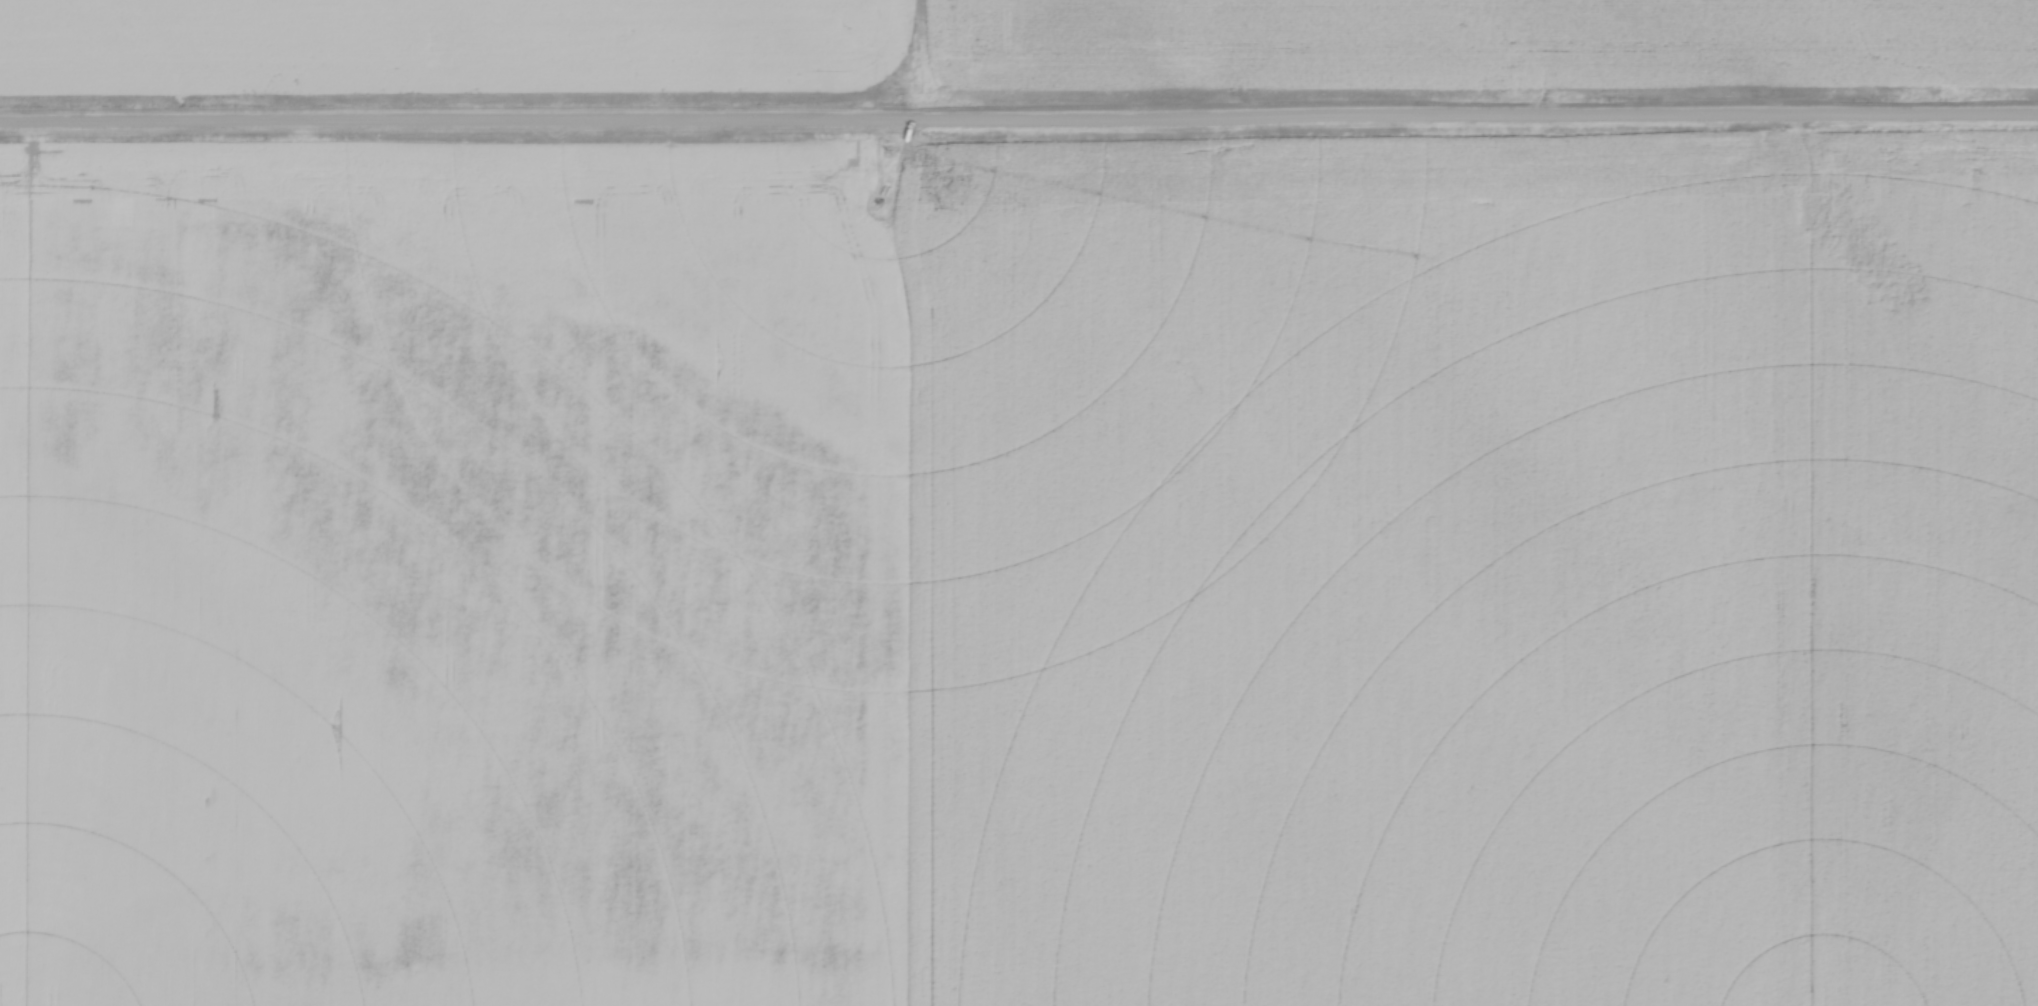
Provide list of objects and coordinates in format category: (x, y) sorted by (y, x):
road: (1019, 124)
crop: (1480, 577)

